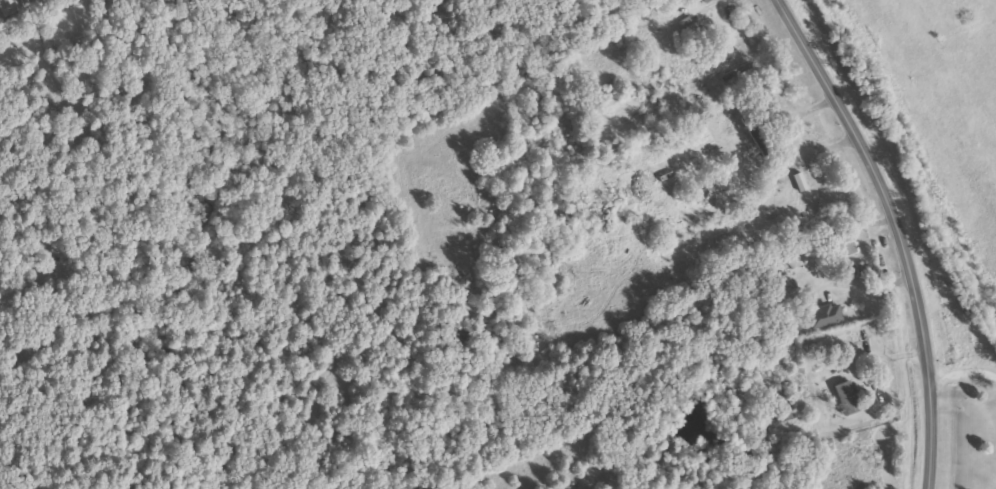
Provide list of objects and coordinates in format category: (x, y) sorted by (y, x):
building: (796, 169)
road: (899, 232)
building: (843, 244)
building: (824, 315)
road: (963, 366)
building: (846, 397)
building: (782, 405)

